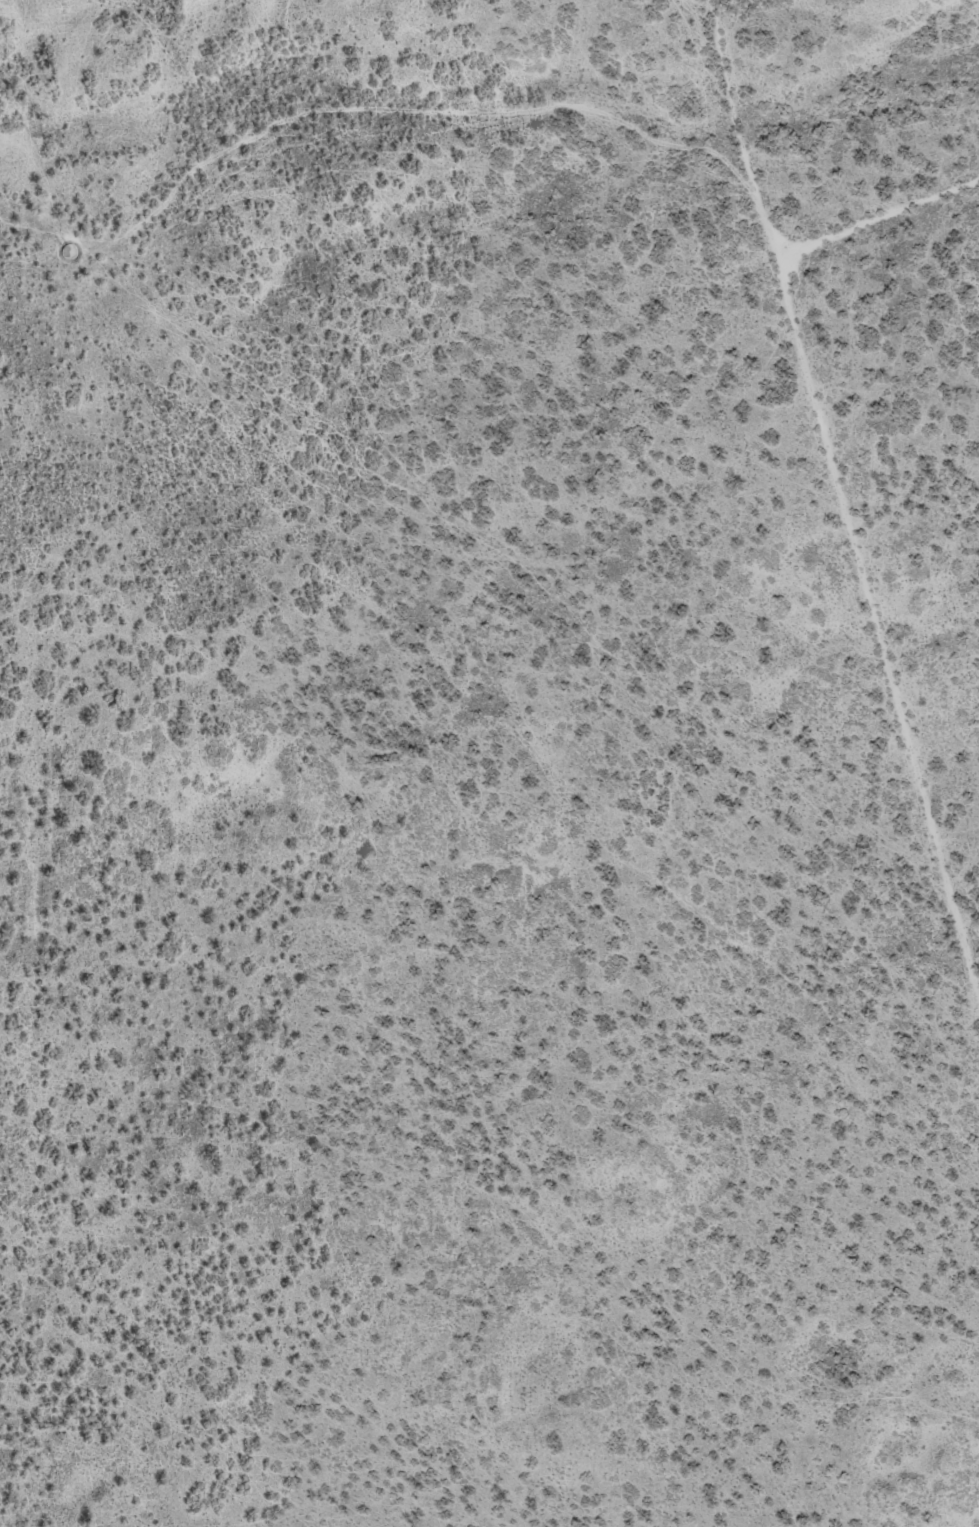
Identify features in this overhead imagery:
road: (839, 499)

